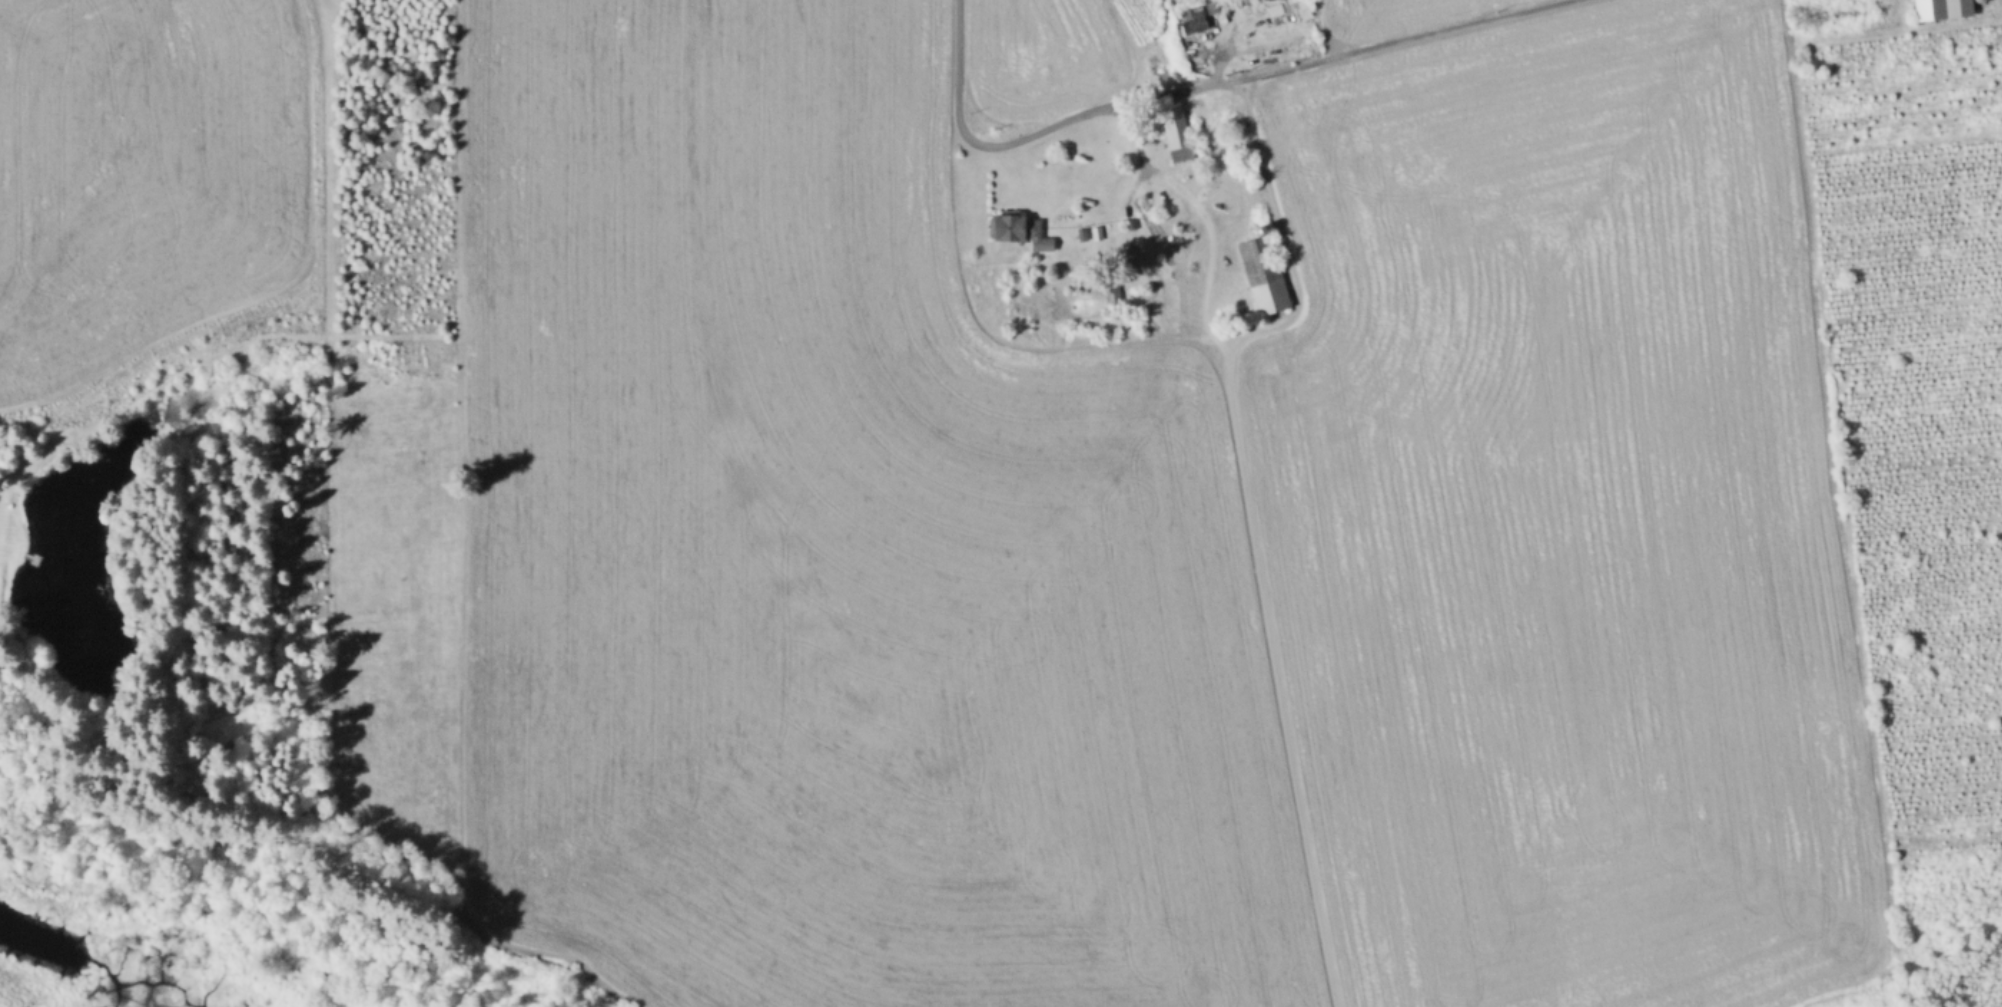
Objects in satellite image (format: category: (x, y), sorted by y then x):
building: (1980, 3)
silo: (1980, 3)
building: (1214, 7)
building: (1284, 9)
building: (1958, 10)
building: (1929, 11)
crop: (1391, 14)
crop: (1042, 56)
road: (1199, 86)
building: (1177, 131)
building: (1067, 152)
crop: (143, 175)
building: (1020, 229)
building: (1097, 233)
building: (1083, 235)
building: (1264, 274)
building: (1113, 294)
road: (1255, 519)
crop: (1559, 531)
crop: (828, 555)

